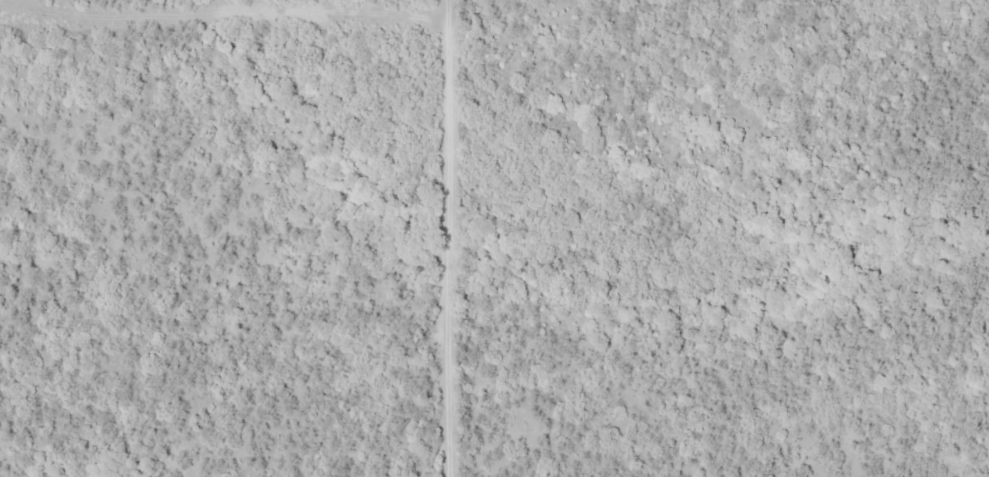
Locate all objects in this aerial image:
road: (441, 238)

